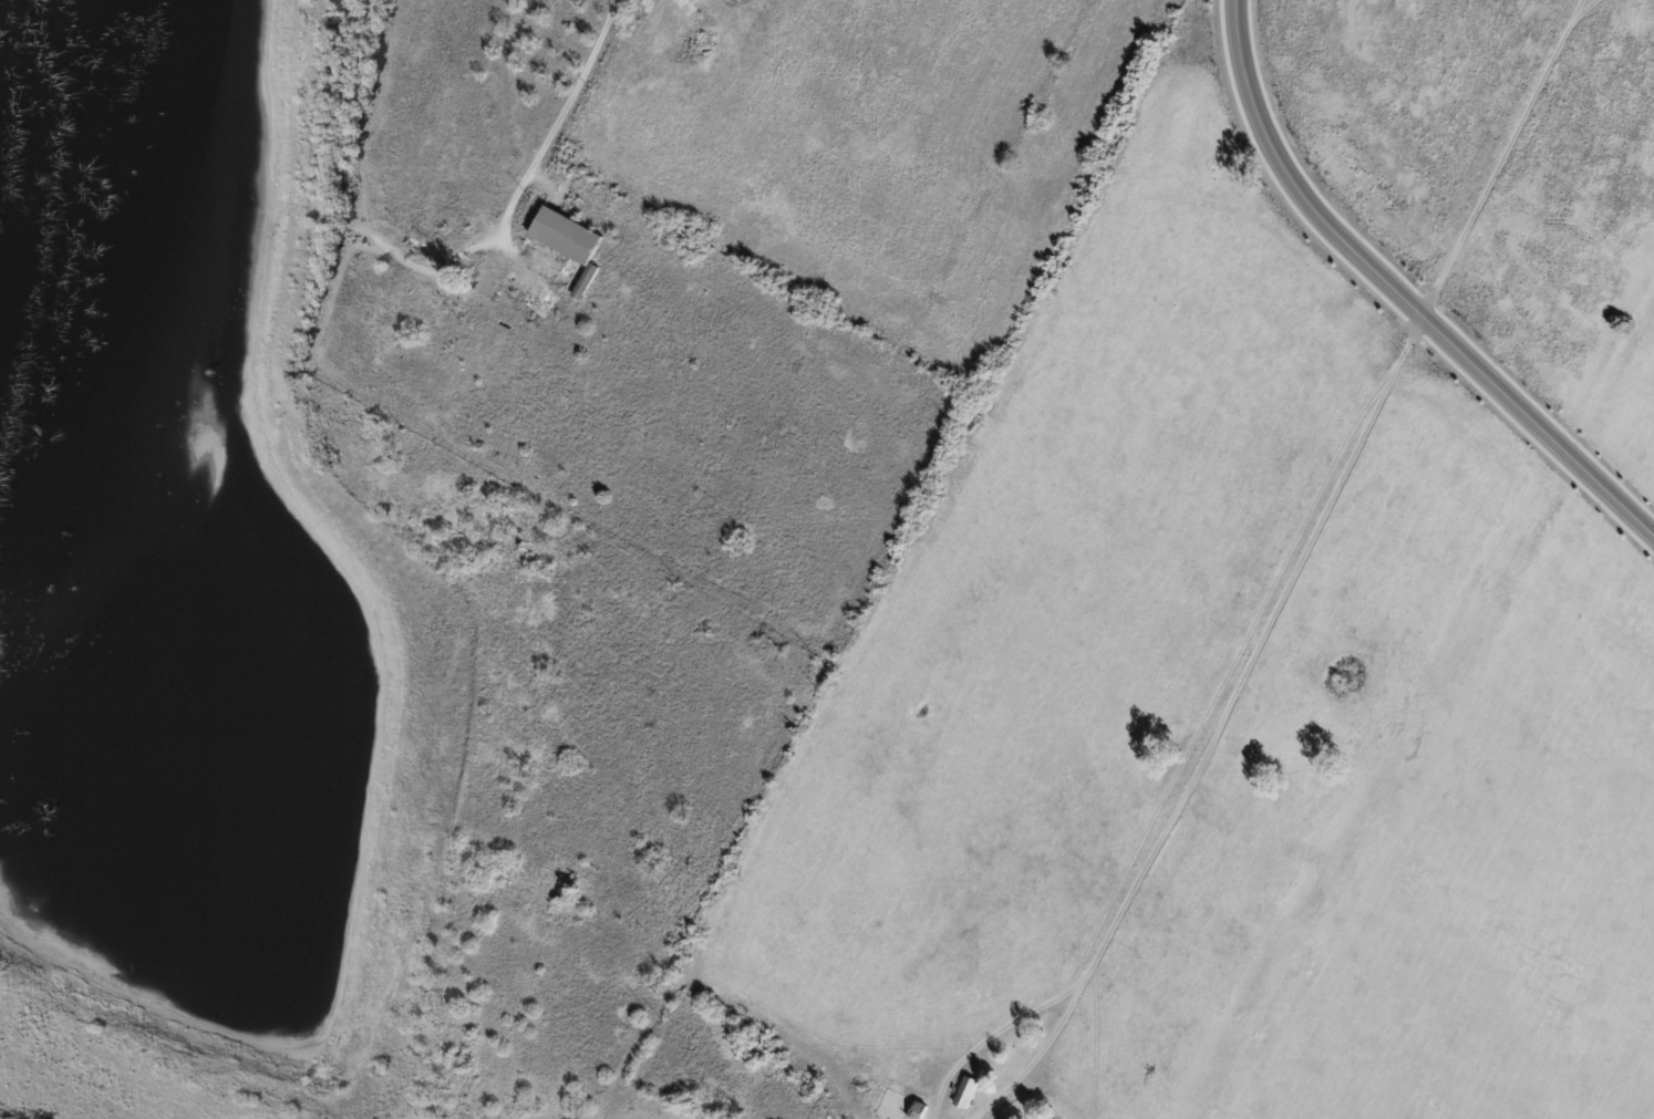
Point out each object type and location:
building: (680, 13)
building: (717, 14)
building: (689, 44)
building: (659, 53)
road: (559, 117)
building: (568, 237)
building: (587, 283)
road: (1398, 296)
road: (1295, 570)
crop: (1119, 639)
crop: (1480, 872)
road: (991, 1036)
building: (981, 1073)
building: (969, 1094)
building: (904, 1102)

